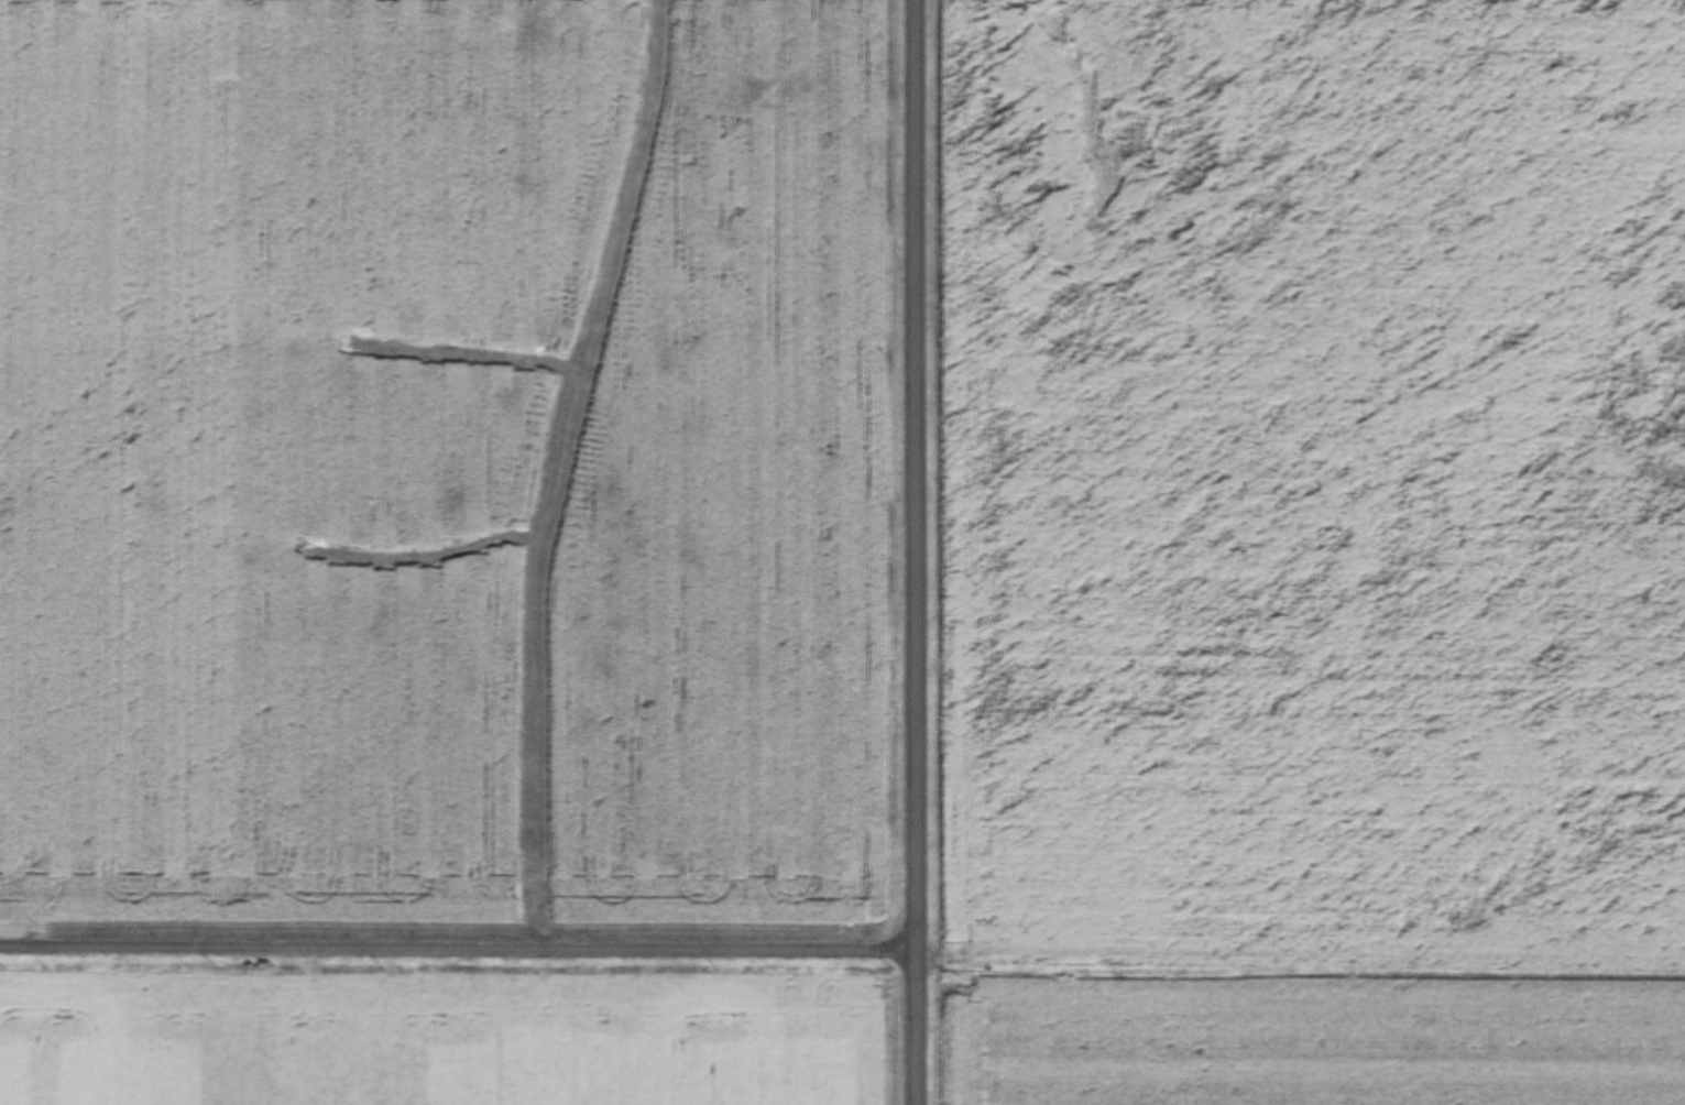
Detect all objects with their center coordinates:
road: (907, 552)
road: (452, 967)

